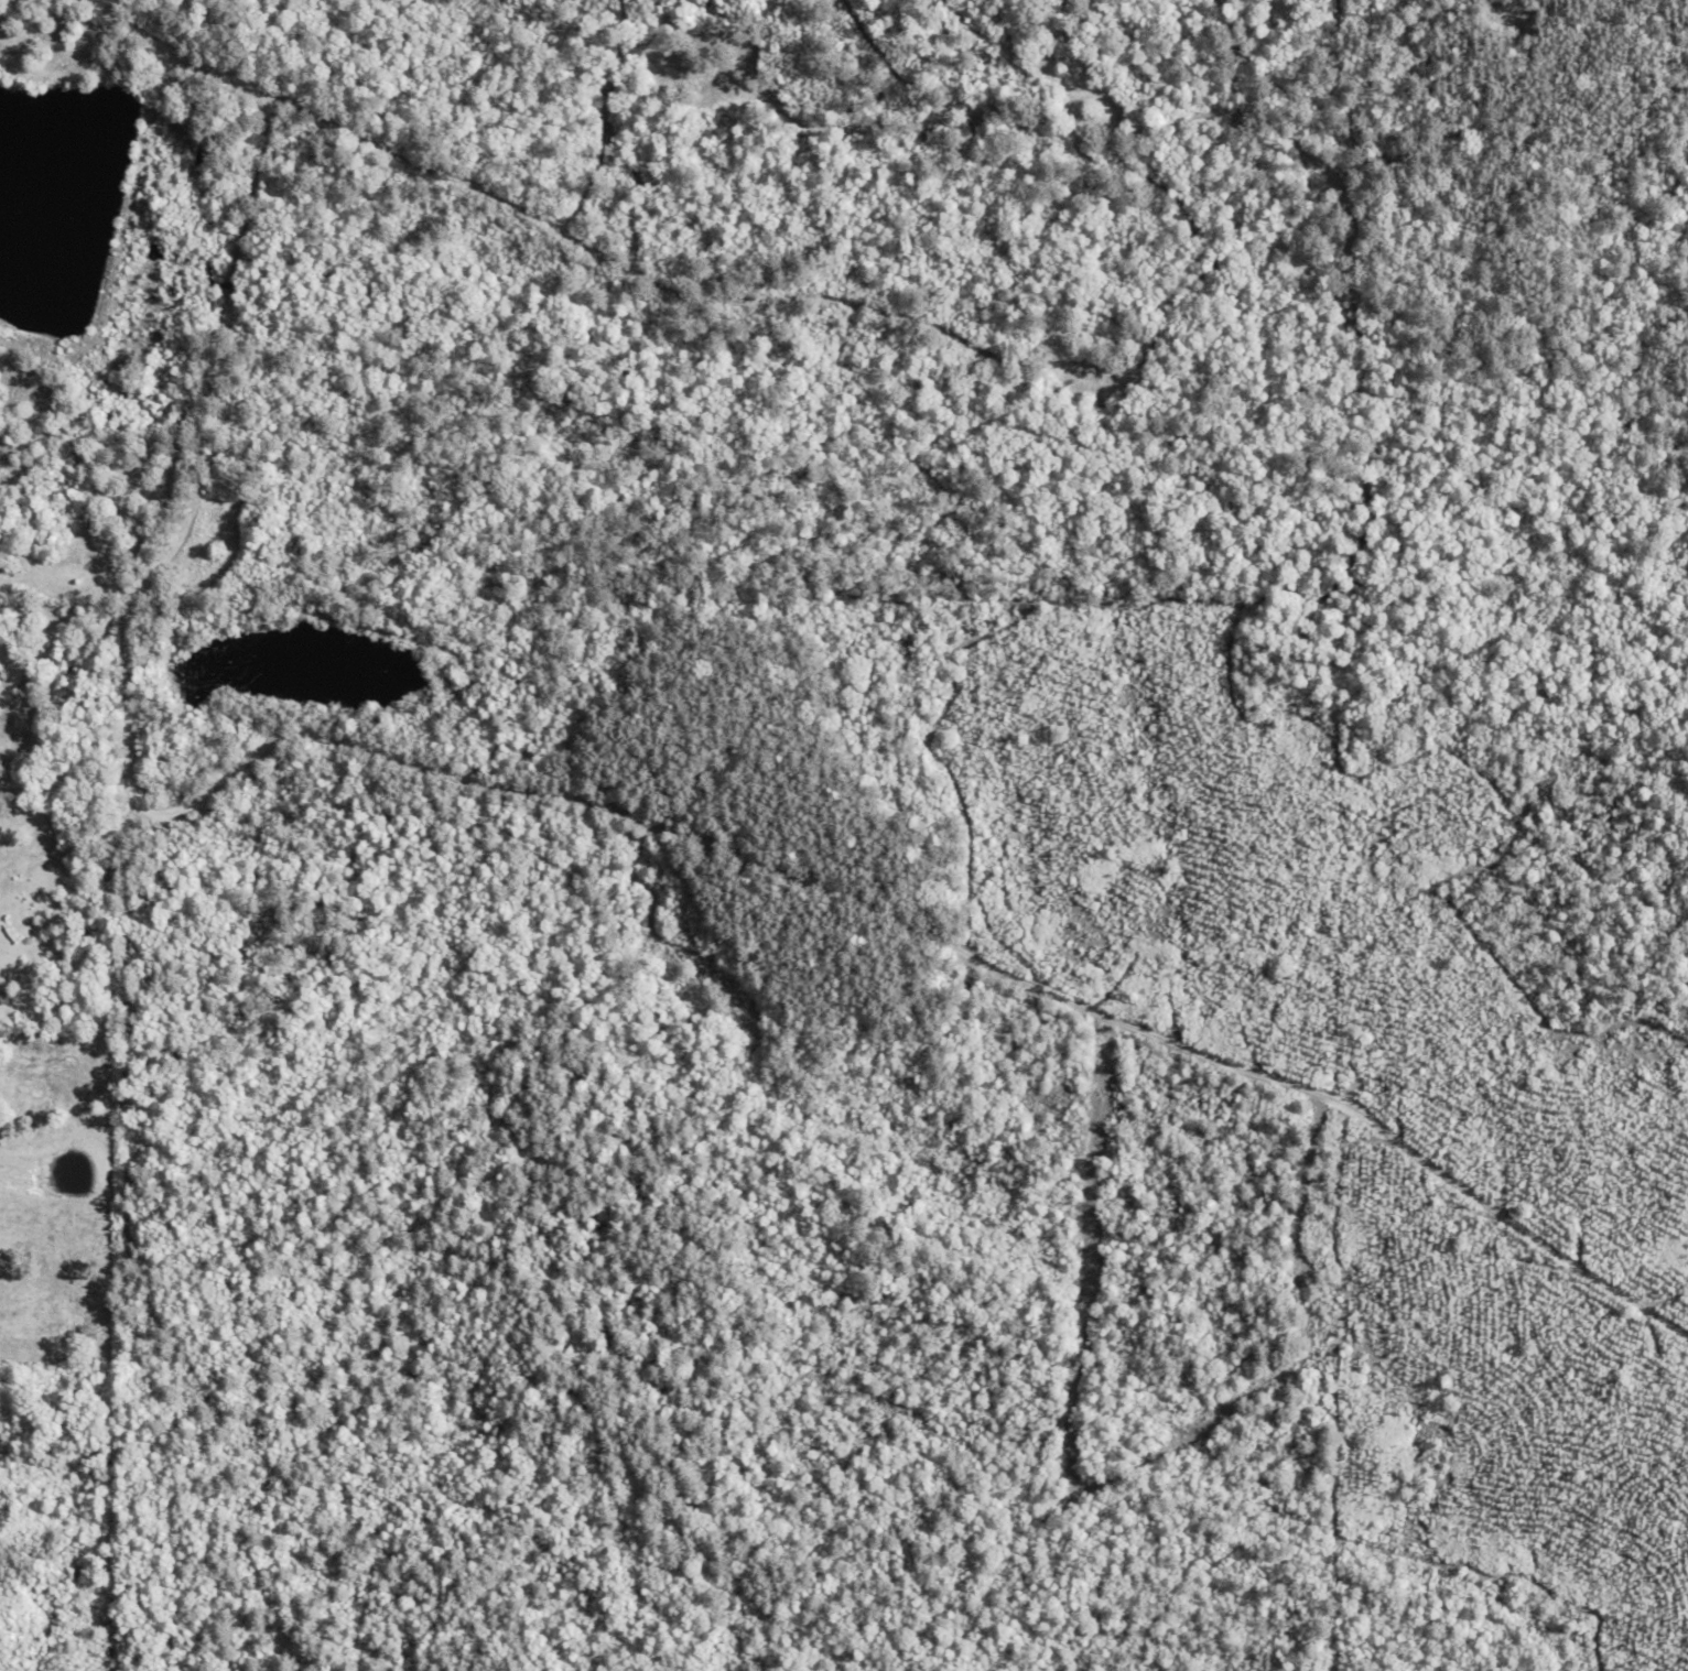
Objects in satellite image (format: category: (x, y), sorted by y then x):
road: (448, 175)

